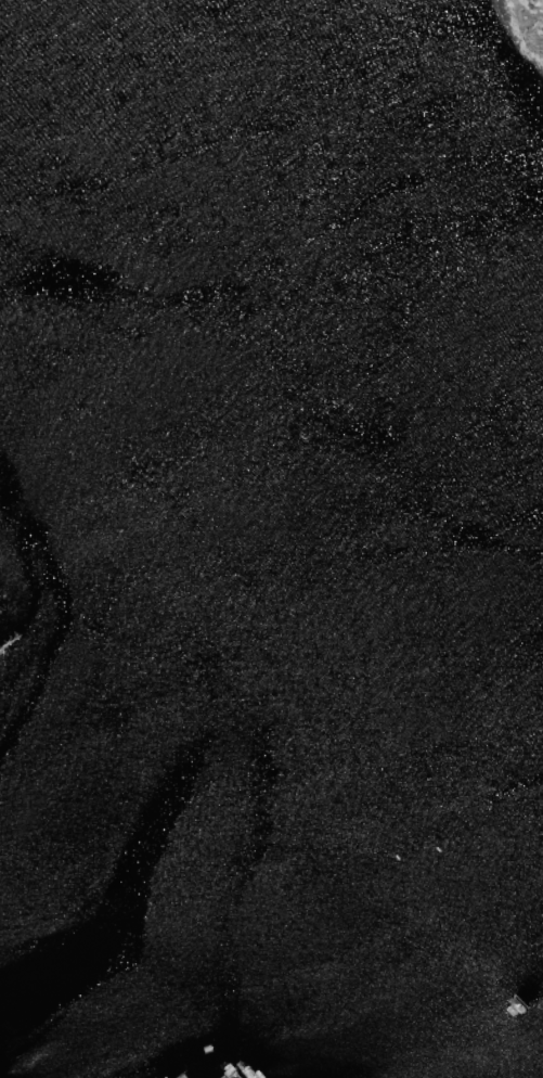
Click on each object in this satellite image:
building: (184, 1074)
building: (233, 1076)

